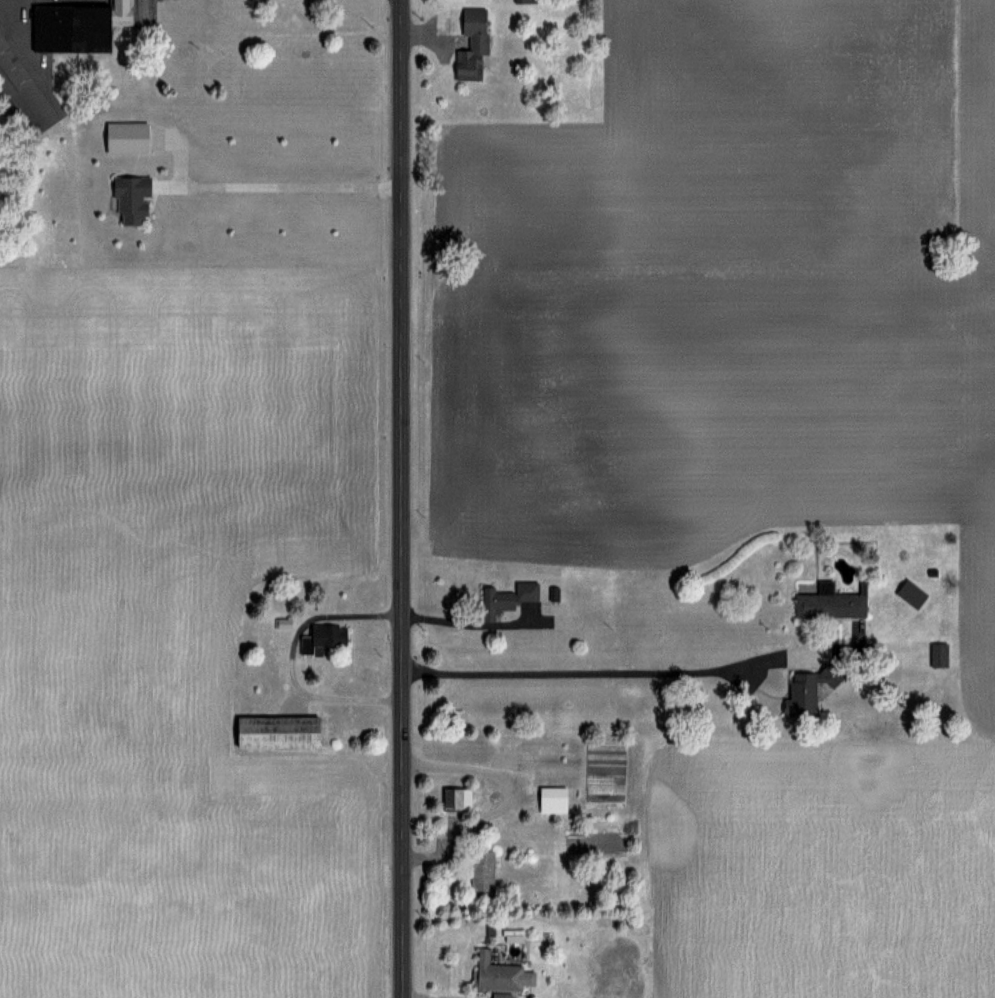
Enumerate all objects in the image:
building: (525, 1)
building: (77, 25)
building: (471, 44)
building: (20, 96)
road: (283, 185)
building: (130, 198)
road: (400, 499)
building: (506, 598)
building: (829, 603)
building: (320, 638)
building: (939, 653)
road: (644, 670)
building: (809, 688)
building: (275, 731)
building: (455, 798)
building: (552, 799)
building: (481, 873)
building: (495, 973)
building: (502, 995)

